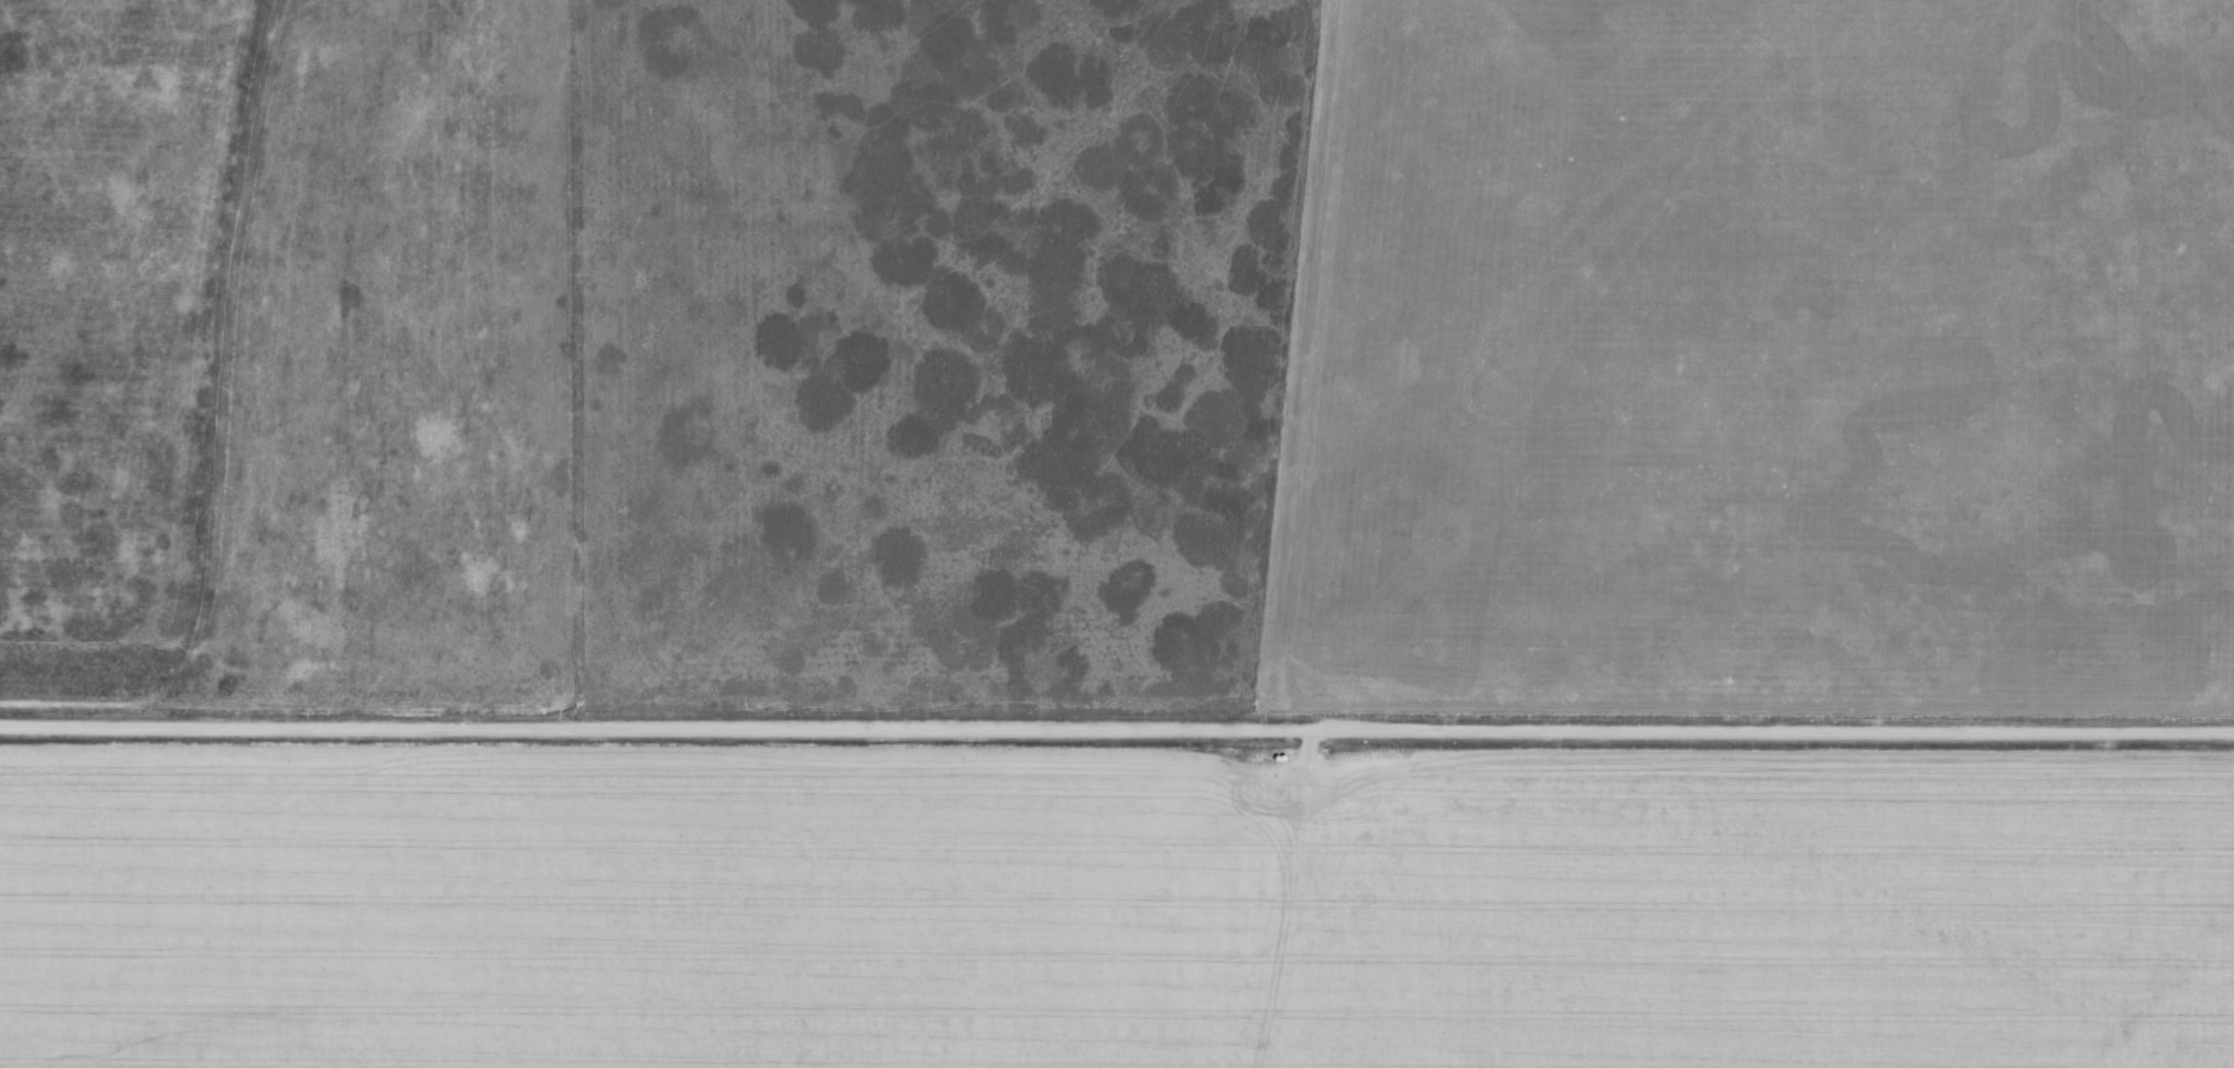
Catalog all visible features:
road: (1116, 727)

